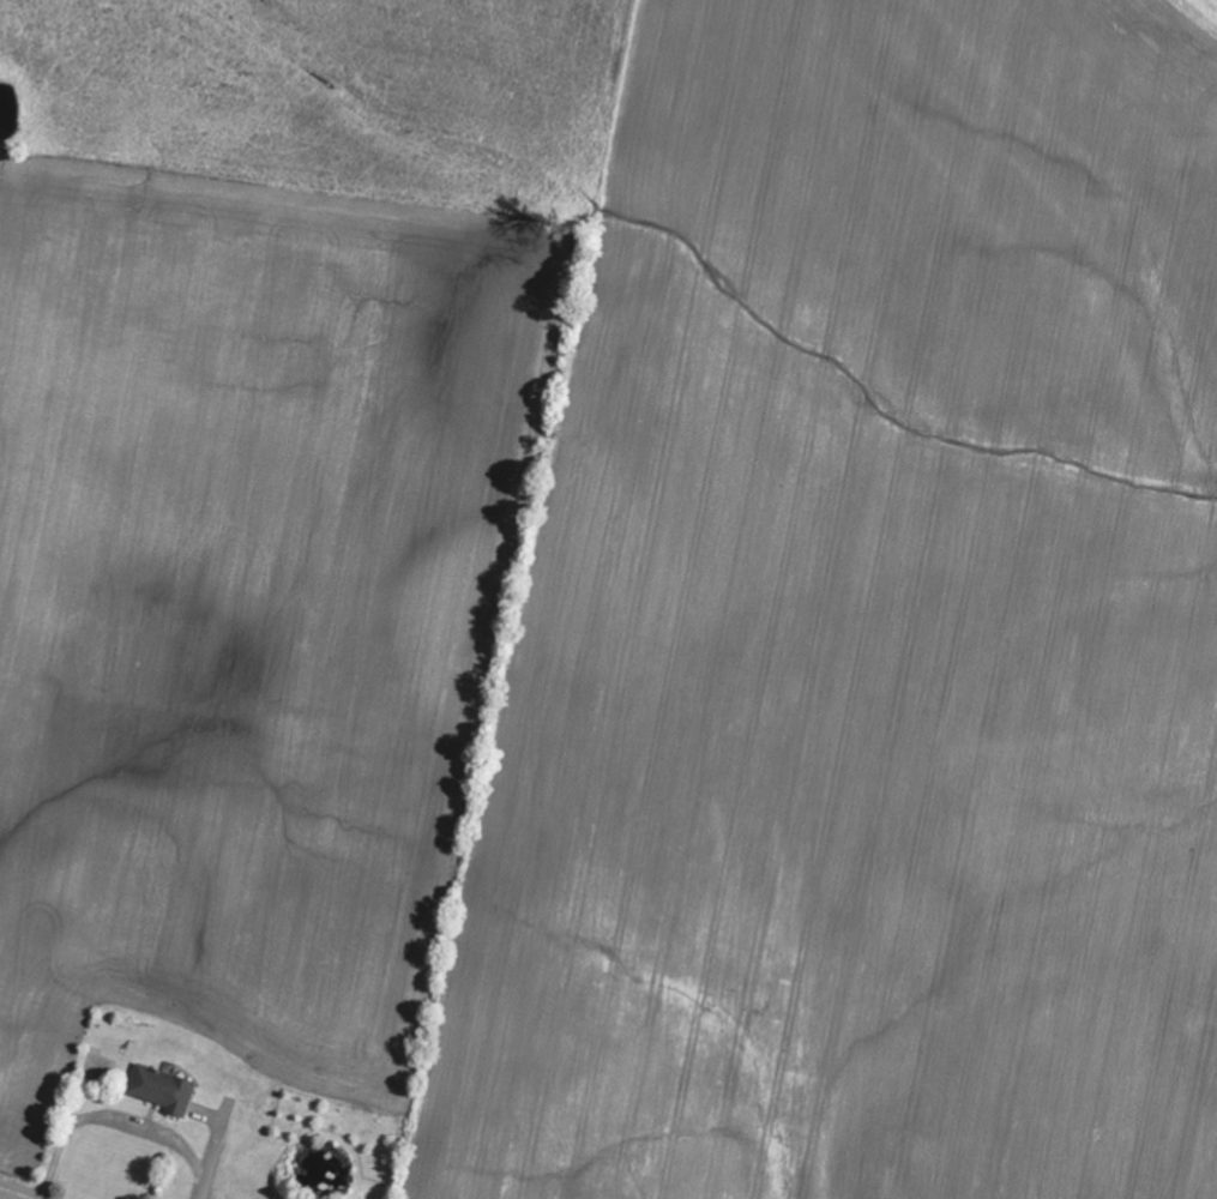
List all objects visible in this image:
building: (165, 1090)
road: (22, 1191)

